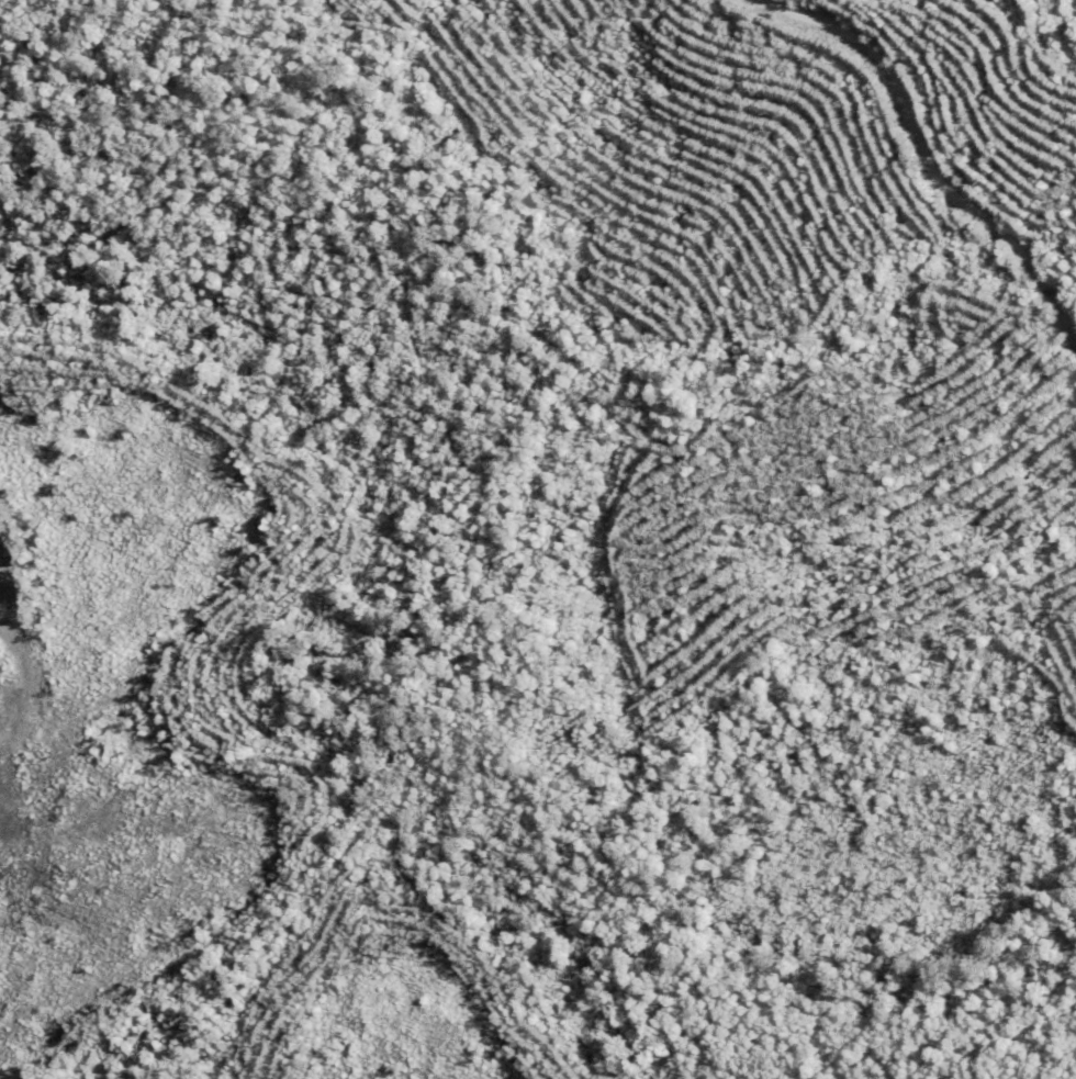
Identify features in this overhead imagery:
road: (917, 137)

